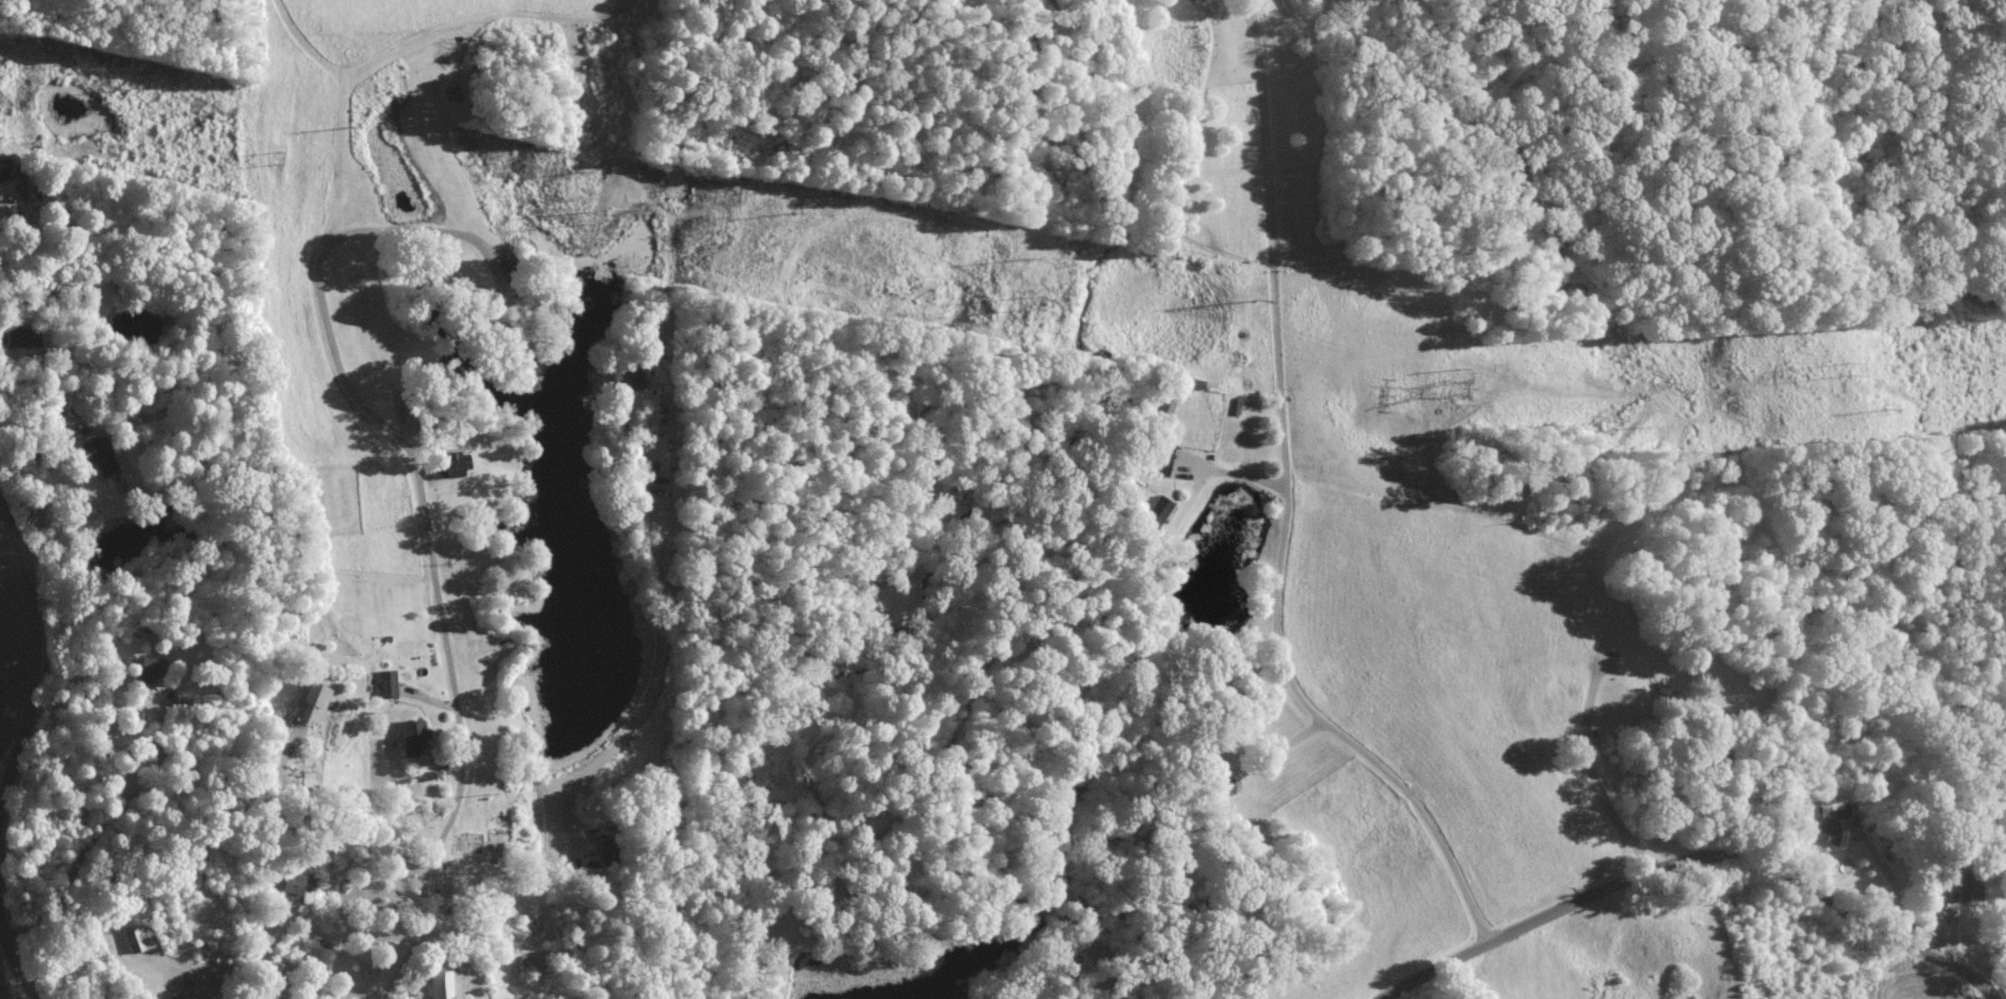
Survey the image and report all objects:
power tower: (361, 123)
power tower: (284, 151)
power tower: (590, 167)
building: (6, 169)
power tower: (803, 209)
power tower: (591, 213)
power tower: (1037, 254)
power tower: (1265, 294)
power tower: (1027, 298)
power tower: (1469, 364)
power tower: (1855, 367)
building: (626, 375)
power tower: (1454, 379)
building: (1190, 383)
power tower: (1897, 405)
power tower: (1644, 424)
building: (100, 455)
building: (1158, 457)
road: (429, 484)
road: (676, 492)
road: (1286, 510)
building: (1155, 511)
road: (39, 656)
building: (153, 668)
building: (388, 682)
building: (415, 735)
road: (576, 800)
building: (1831, 809)
road: (100, 827)
building: (1825, 834)
building: (605, 849)
road: (1689, 859)
building: (294, 886)
building: (138, 936)
road: (11, 949)
road: (265, 949)
road: (215, 980)
building: (443, 984)
building: (188, 998)

